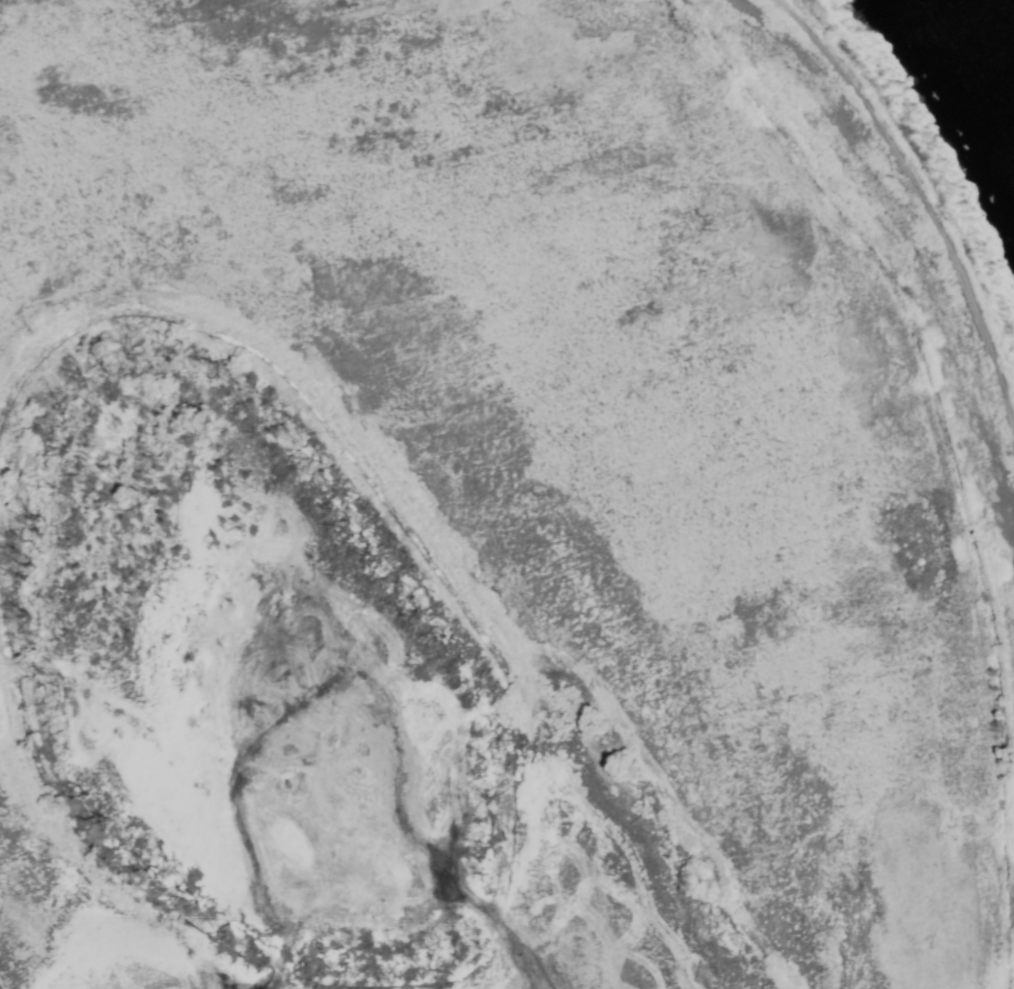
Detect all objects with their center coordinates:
crop: (471, 523)

